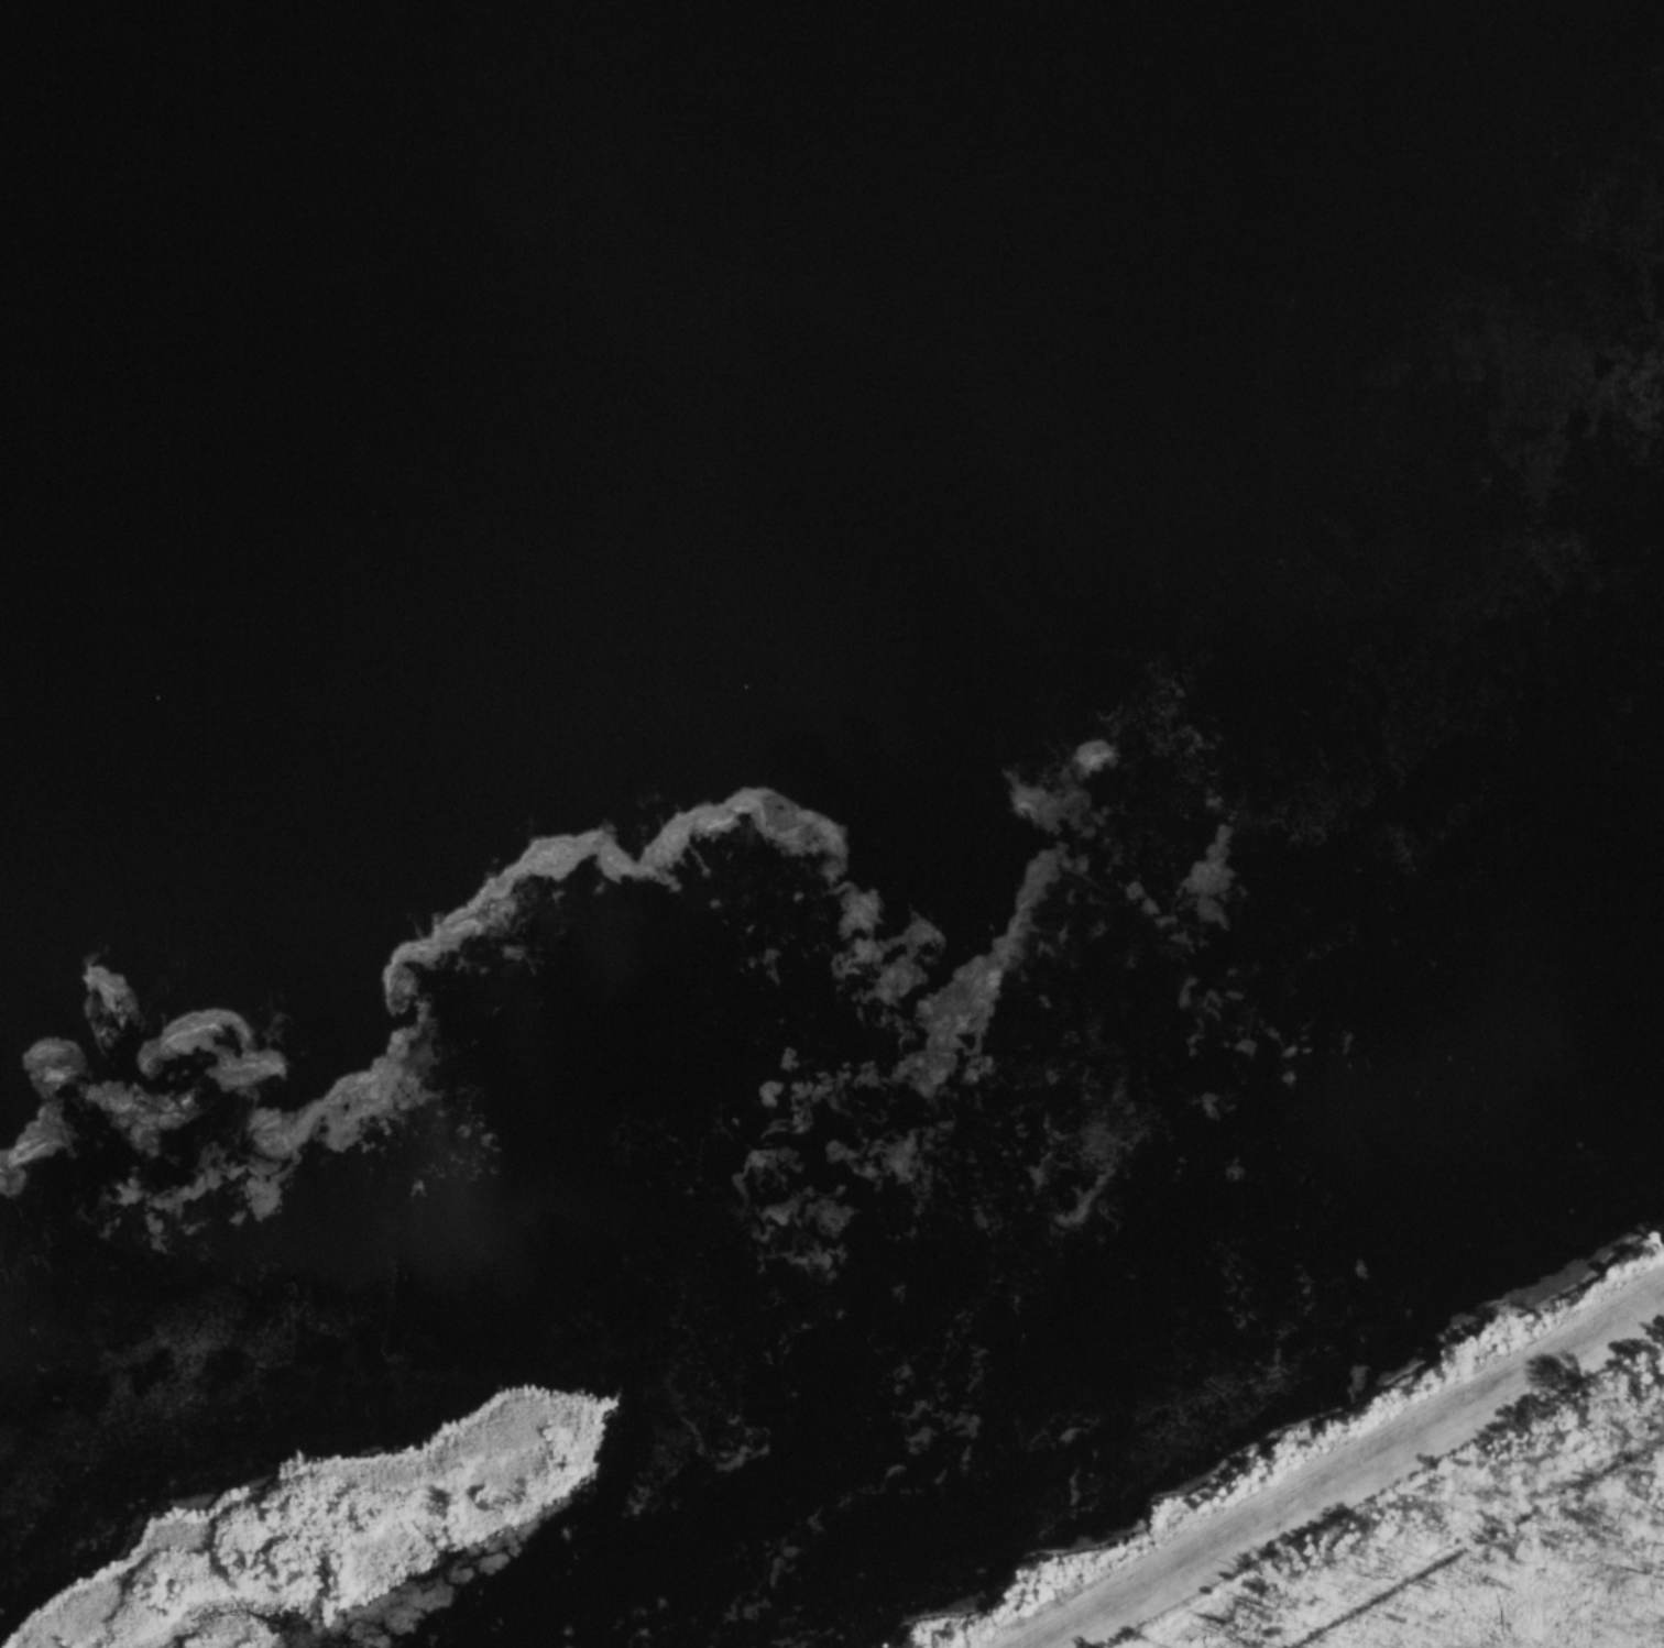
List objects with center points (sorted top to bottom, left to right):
river: (815, 922)
road: (1353, 1473)

